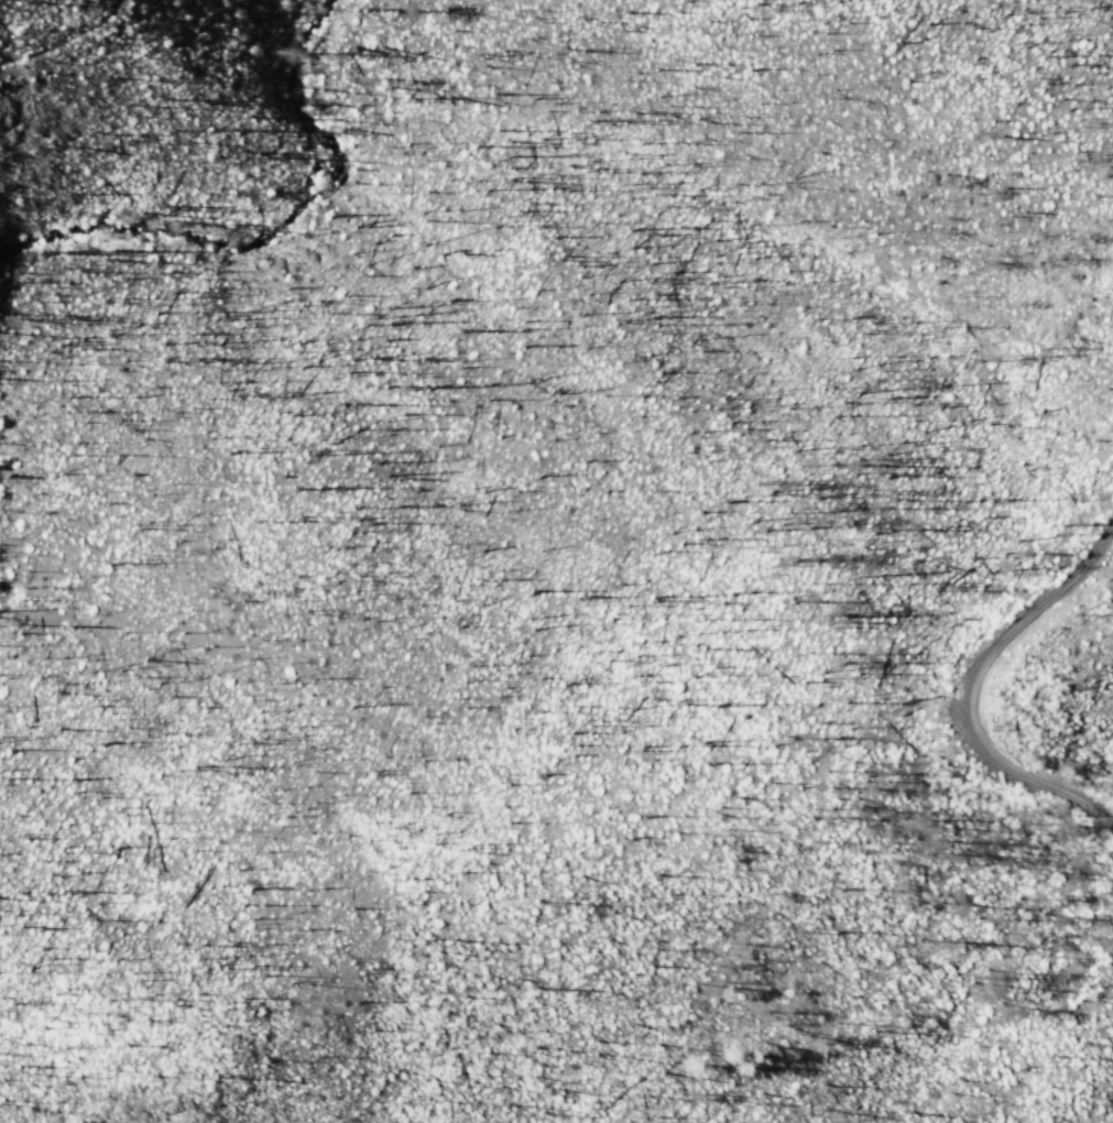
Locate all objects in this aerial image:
road: (987, 729)

